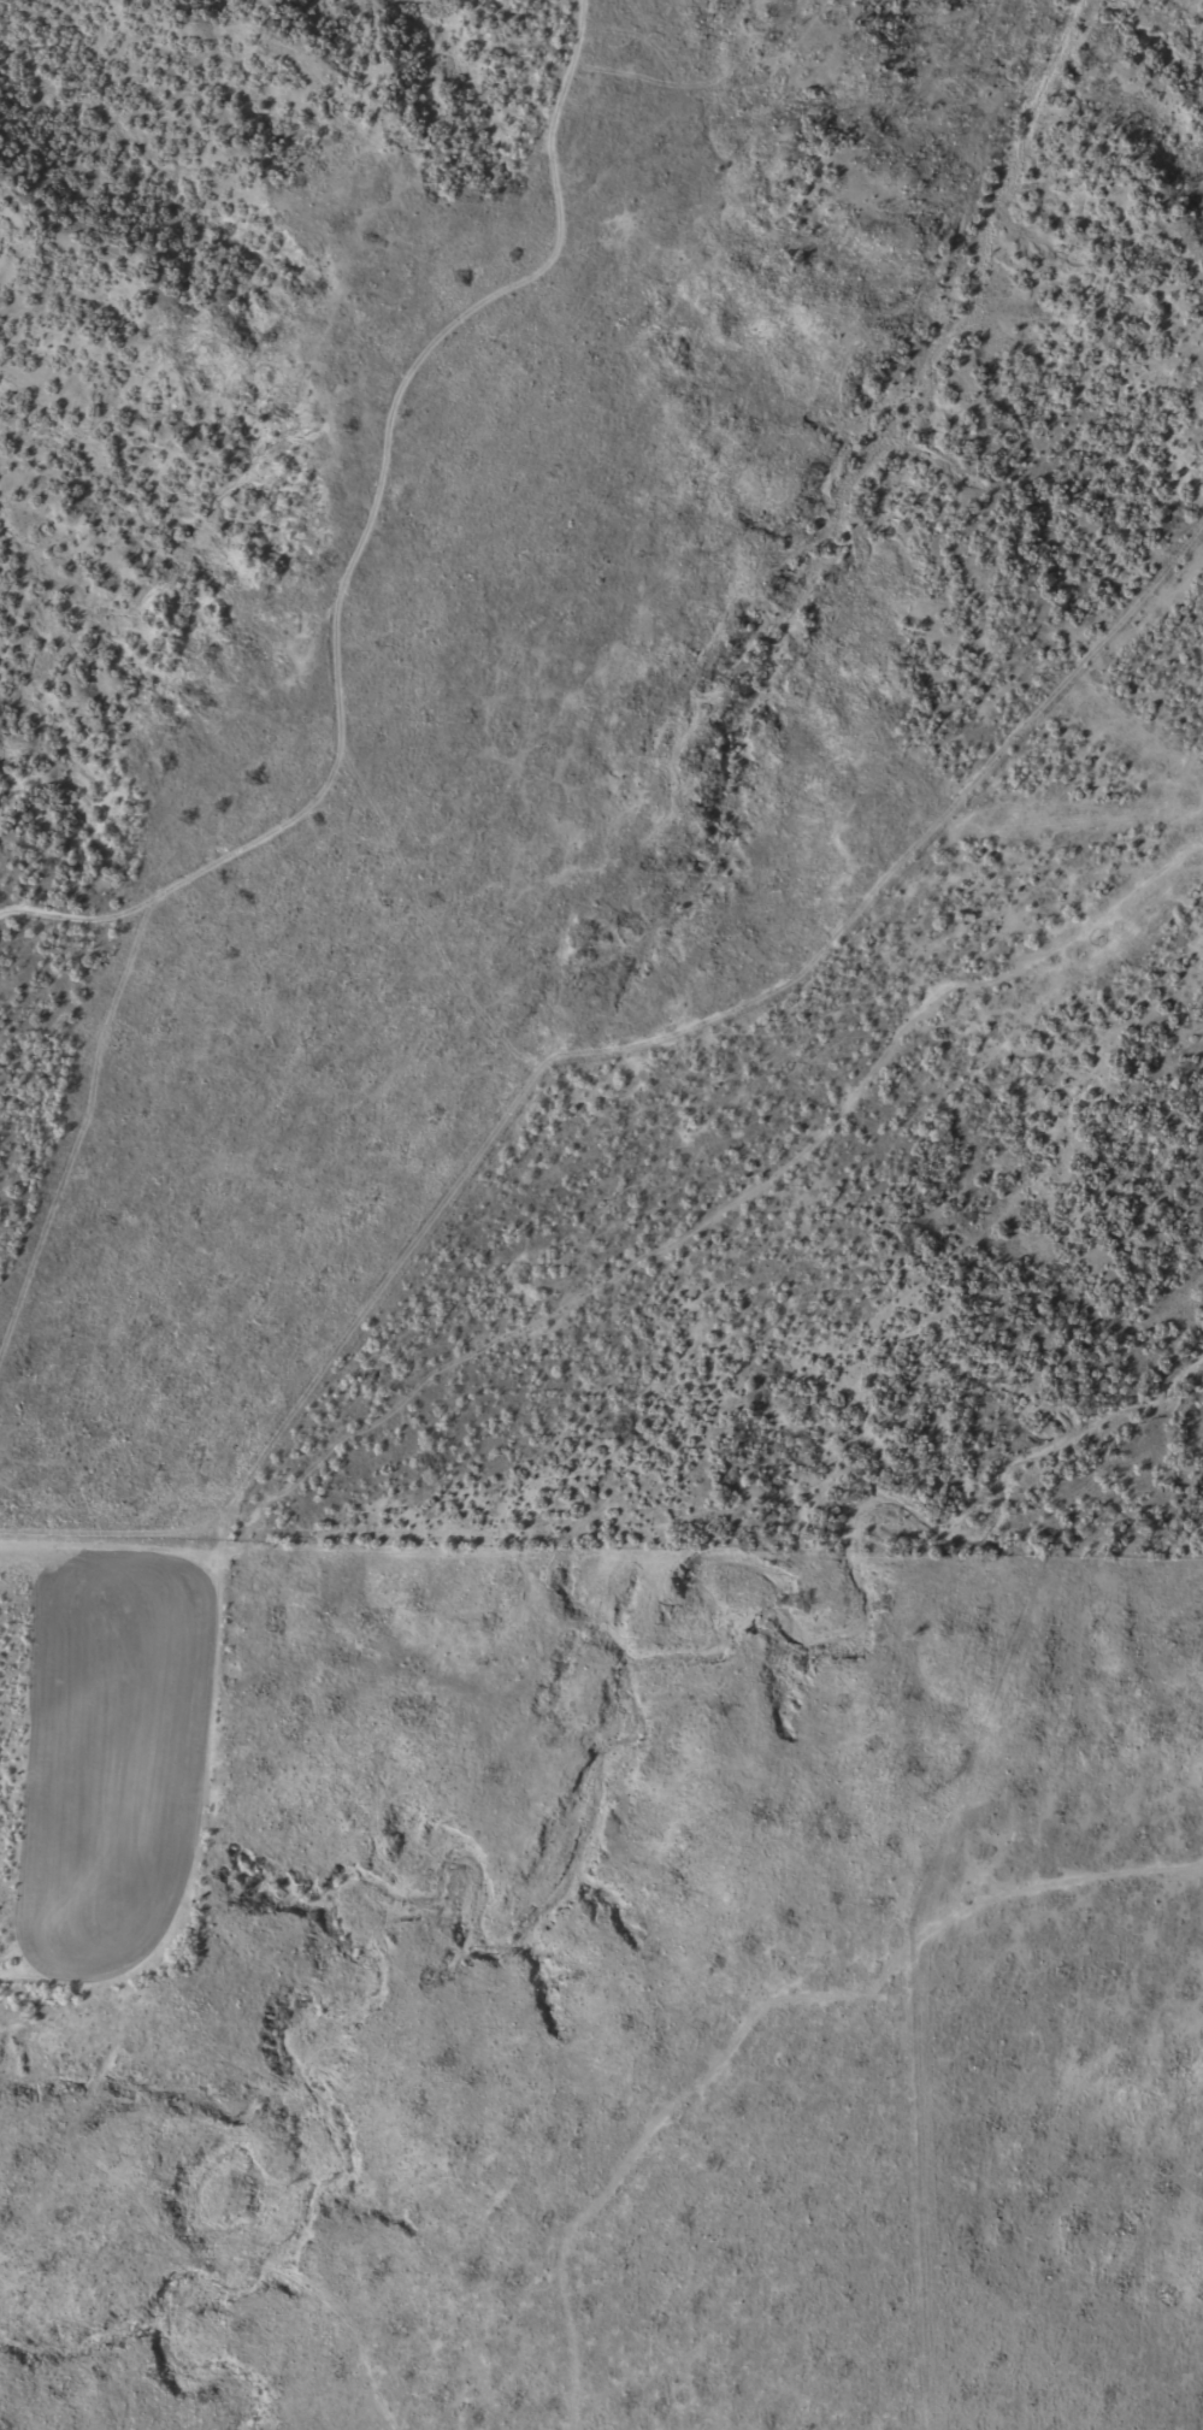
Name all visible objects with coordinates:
road: (1184, 808)
road: (664, 1234)

